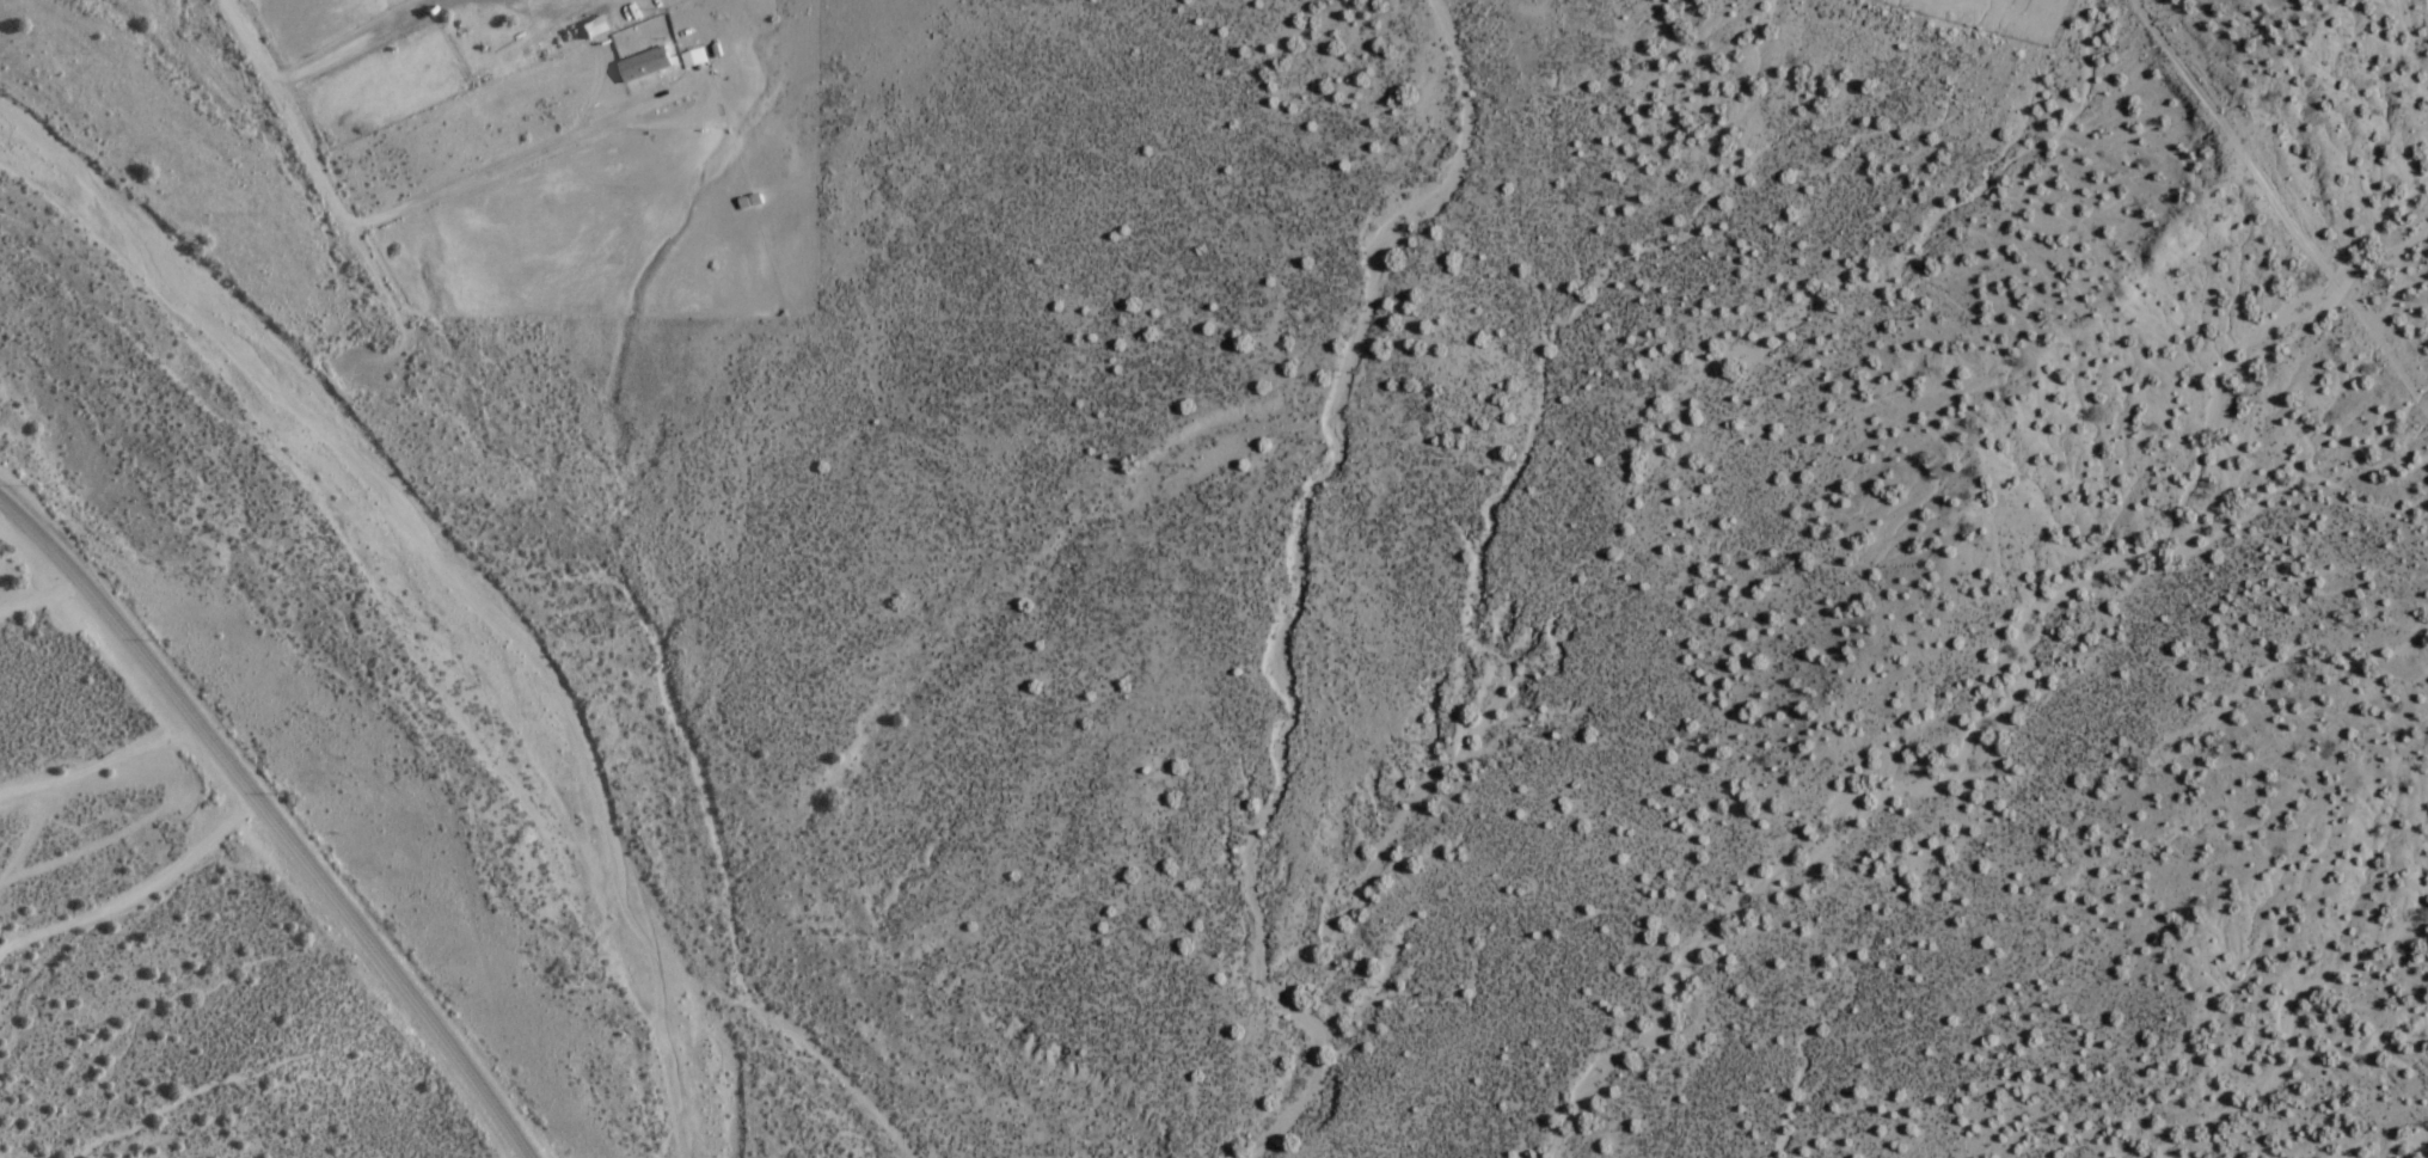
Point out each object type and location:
road: (1531, 1)
road: (342, 43)
building: (695, 57)
building: (682, 60)
building: (633, 67)
road: (276, 114)
road: (570, 134)
road: (2268, 213)
river: (429, 590)
road: (32, 593)
road: (98, 765)
road: (274, 825)
road: (136, 893)

